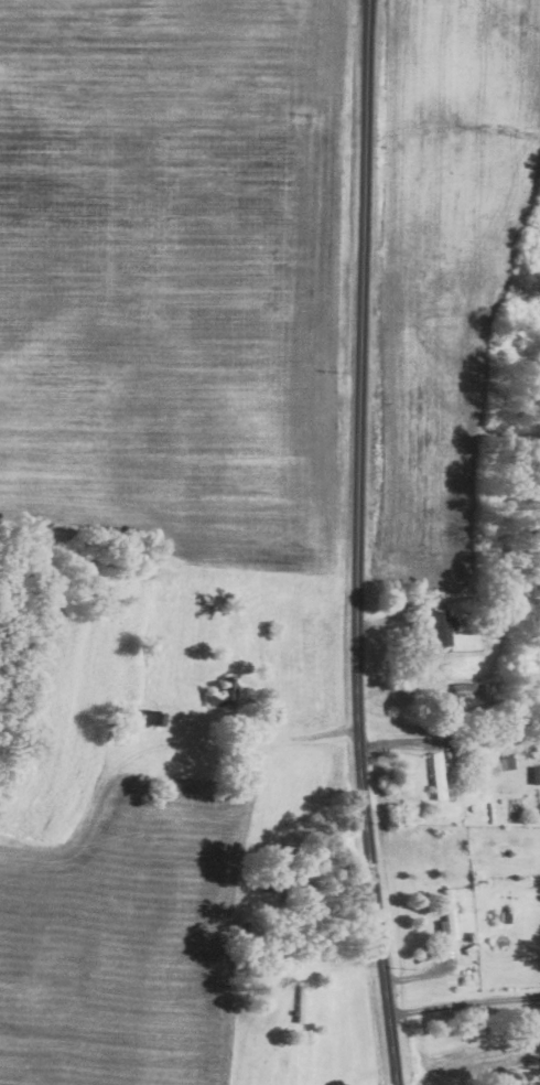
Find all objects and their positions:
road: (359, 544)
building: (442, 627)
building: (468, 690)
building: (154, 718)
road: (239, 748)
building: (536, 774)
building: (439, 776)
building: (450, 915)
road: (464, 1001)

